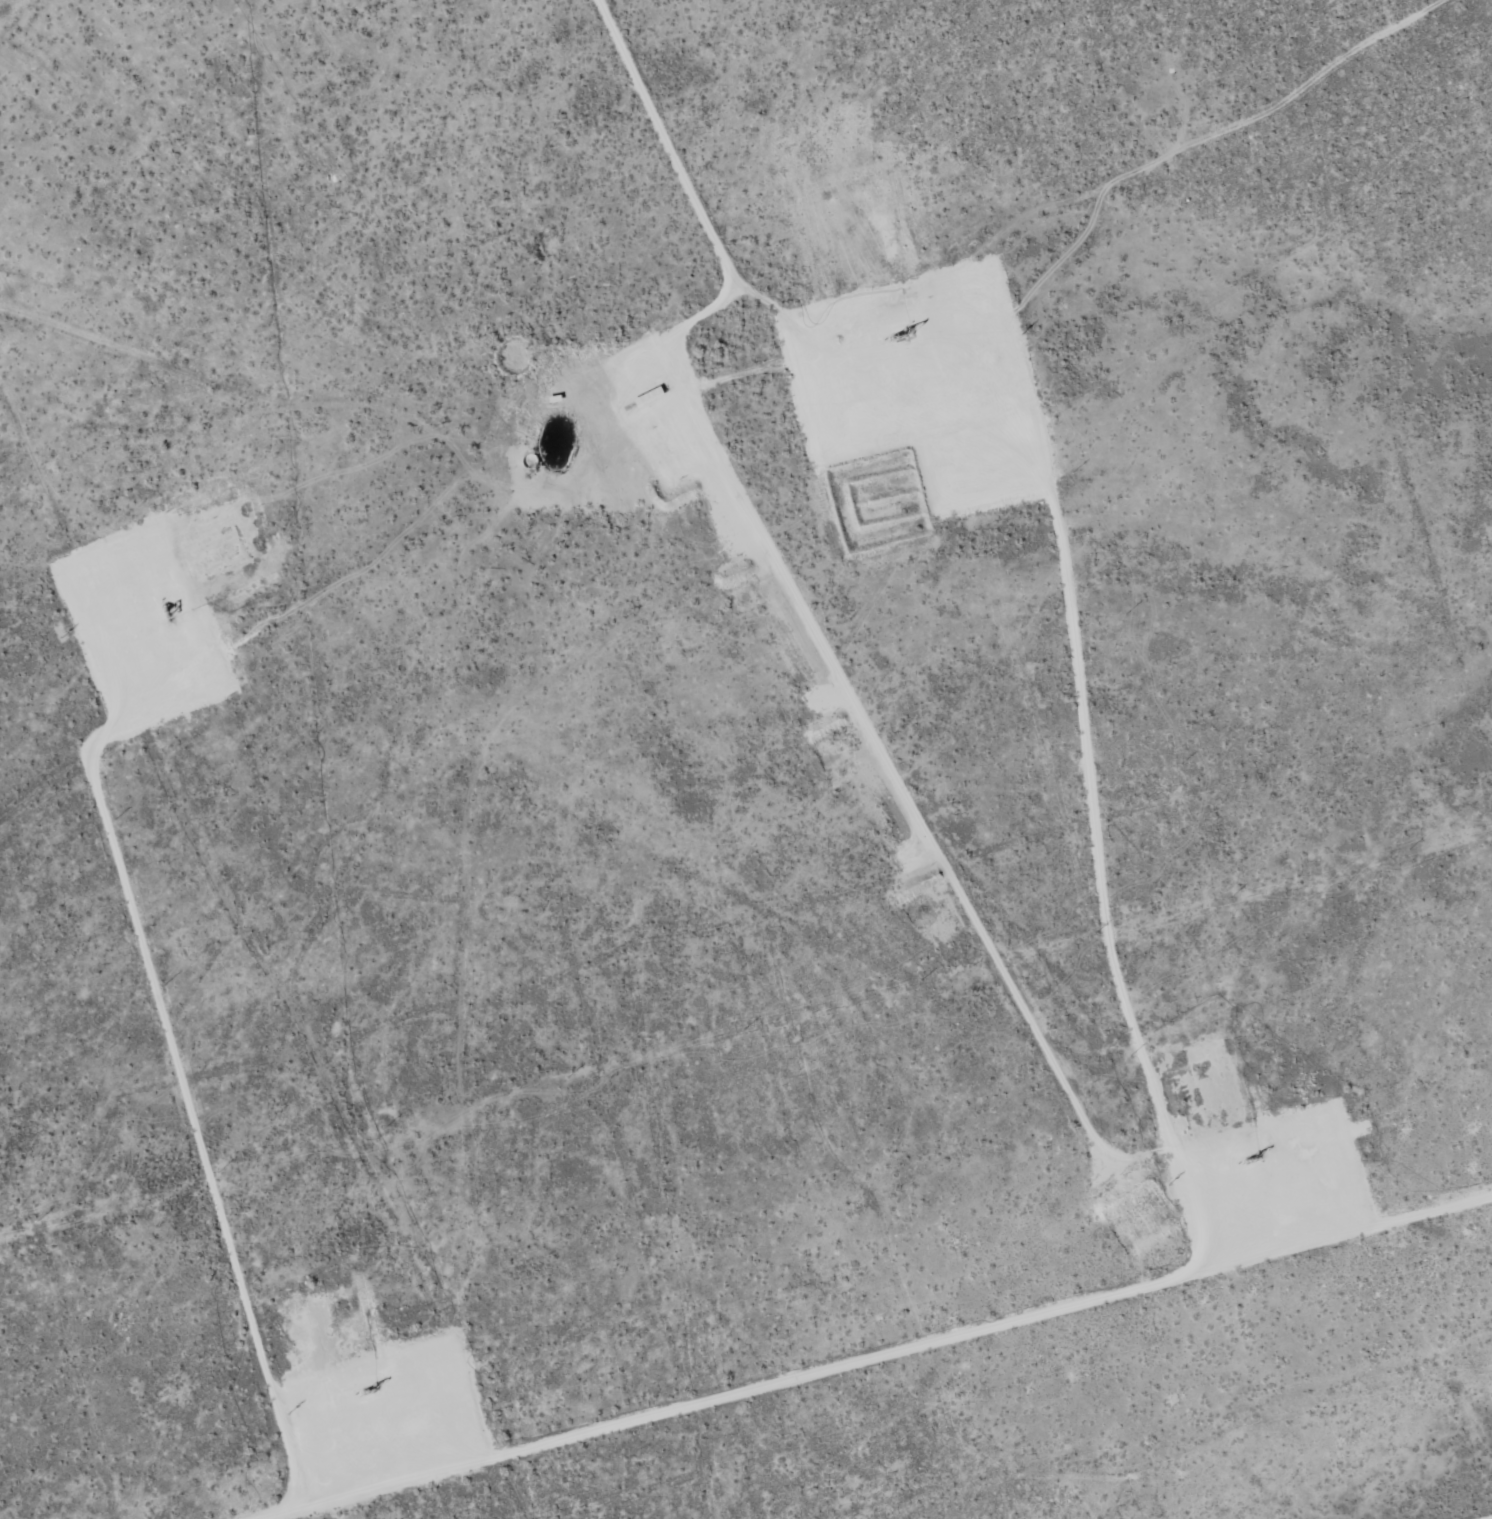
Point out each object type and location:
road: (1487, 1517)

